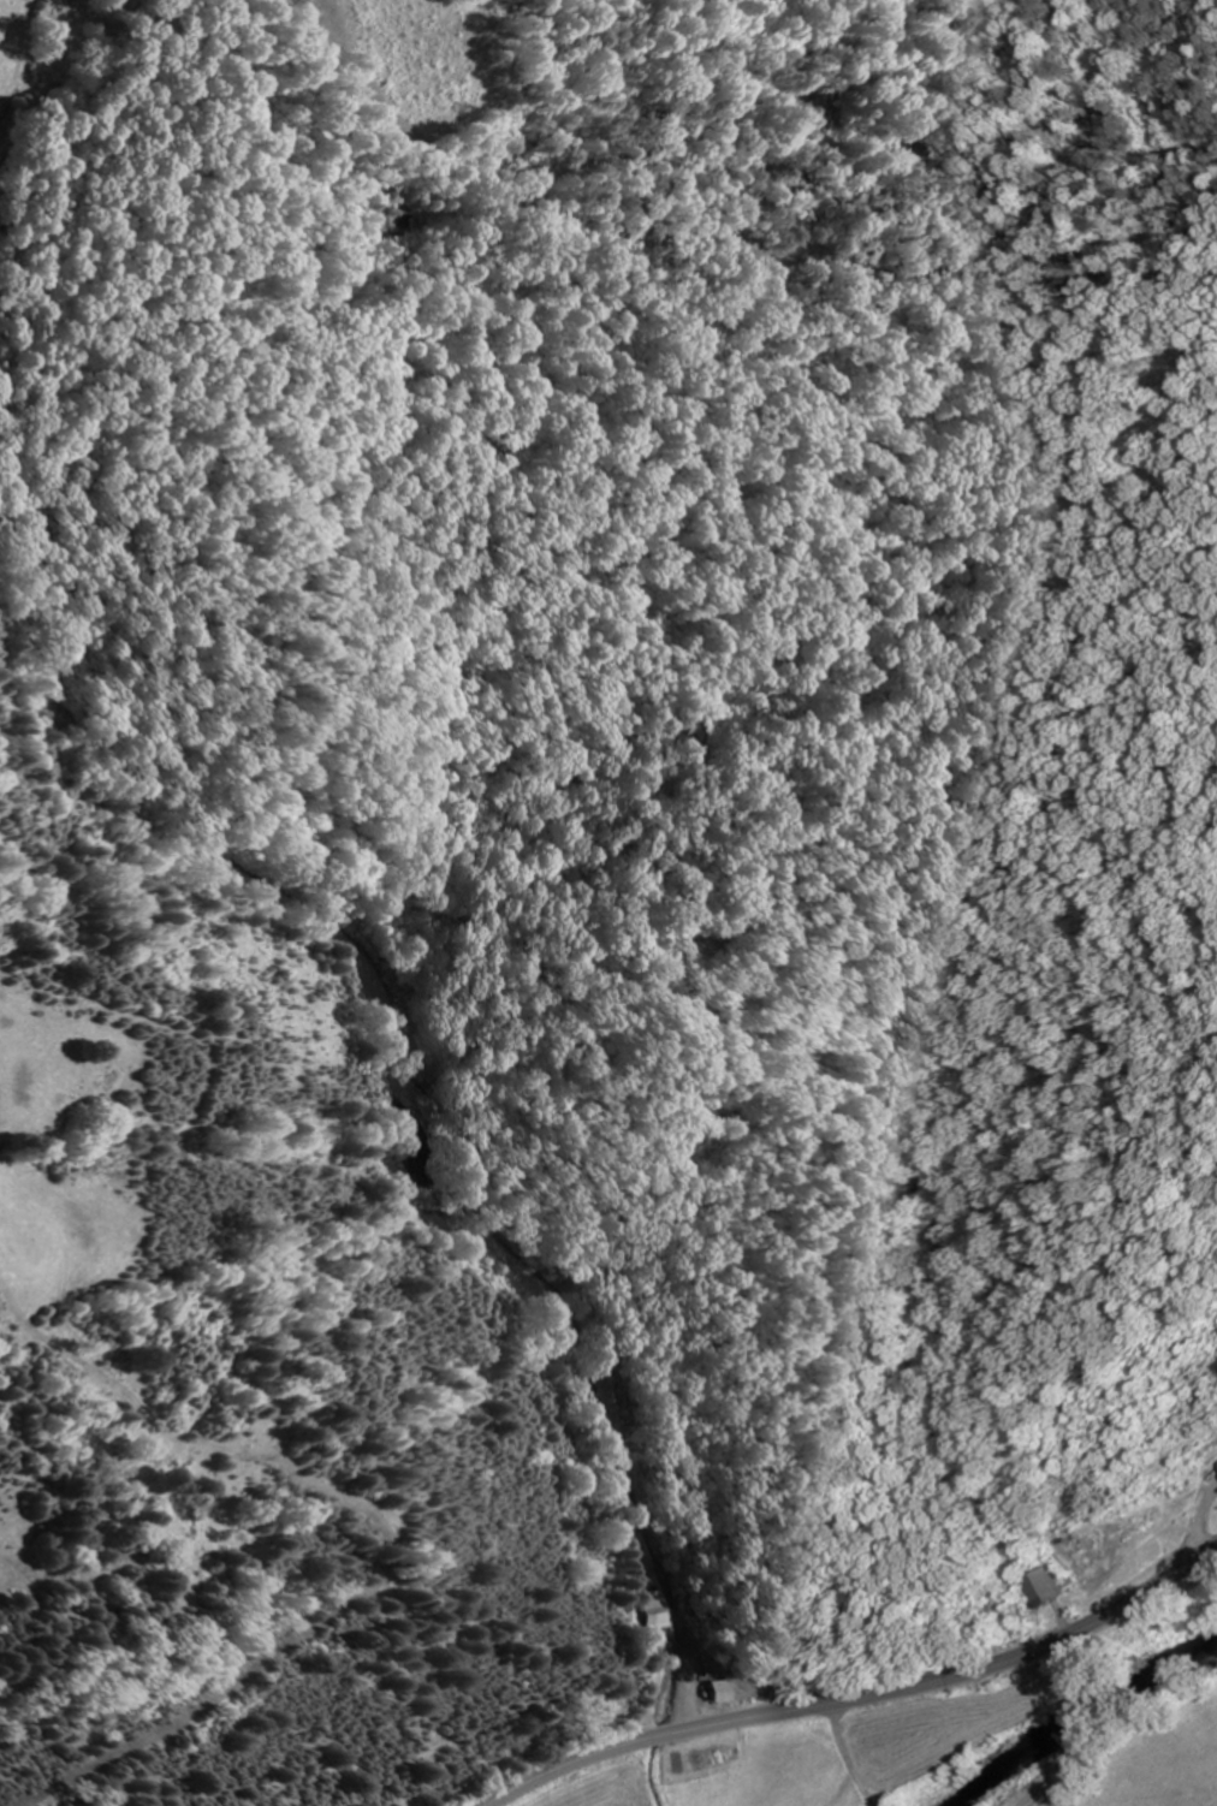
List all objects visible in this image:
building: (1047, 1585)
building: (660, 1609)
building: (725, 1689)
road: (862, 1695)

